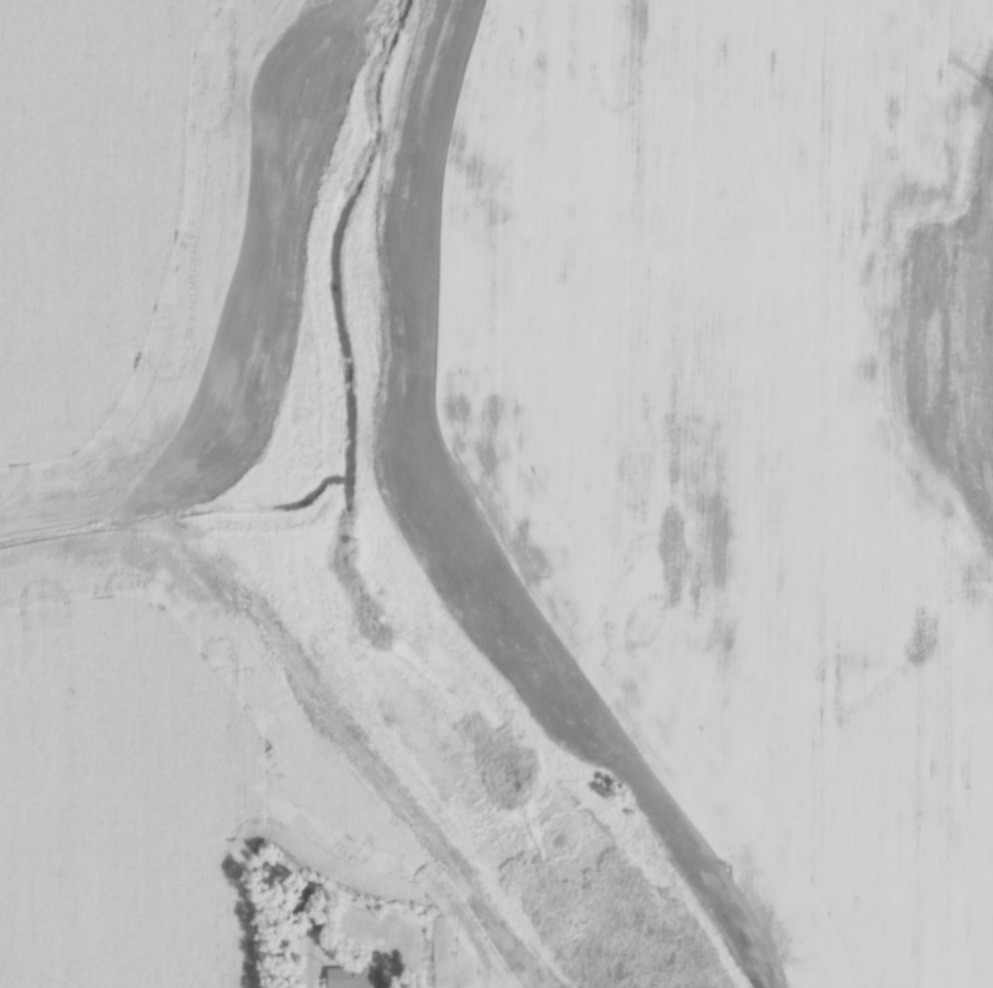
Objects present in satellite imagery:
building: (305, 909)
building: (351, 976)

